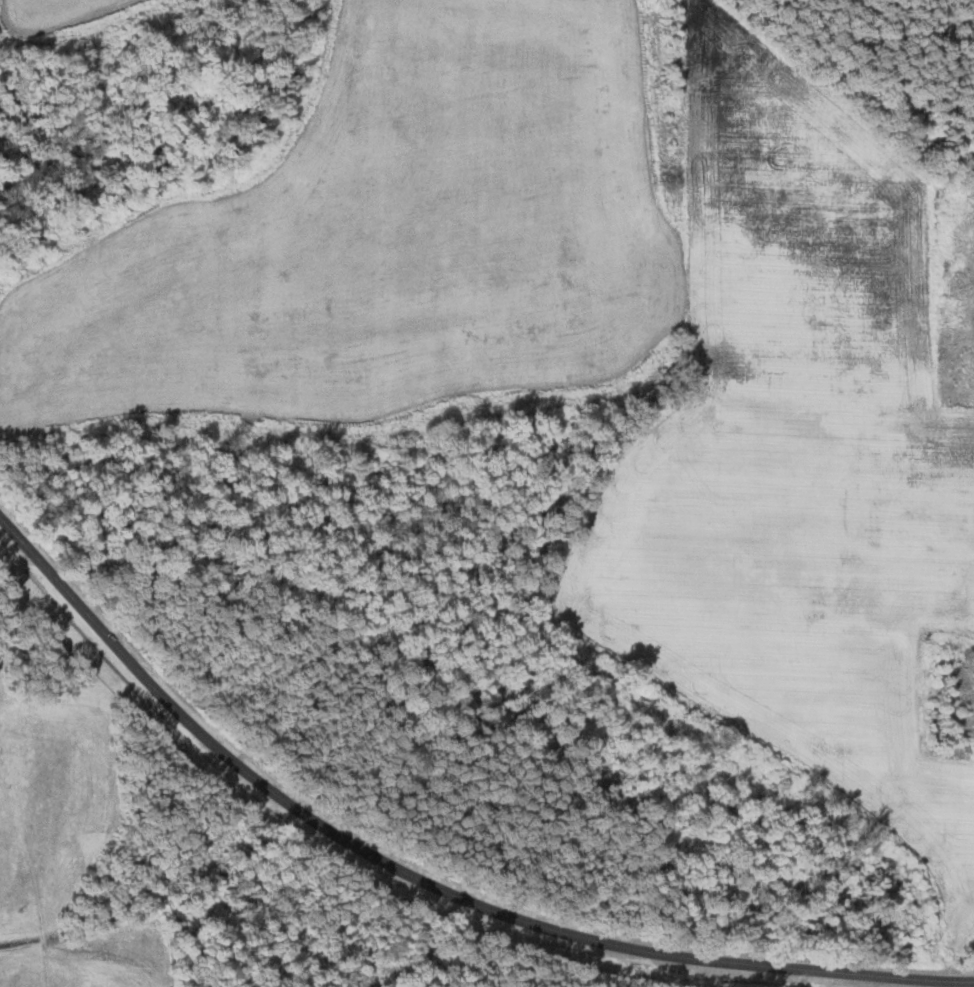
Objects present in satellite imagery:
building: (972, 236)
building: (971, 304)
road: (422, 882)

